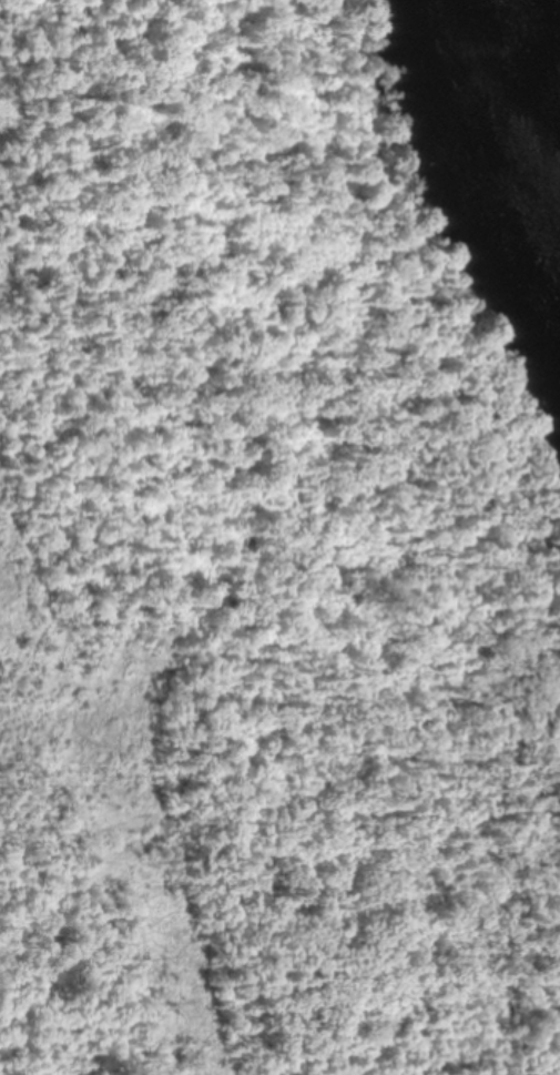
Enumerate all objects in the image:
park: (279, 537)

